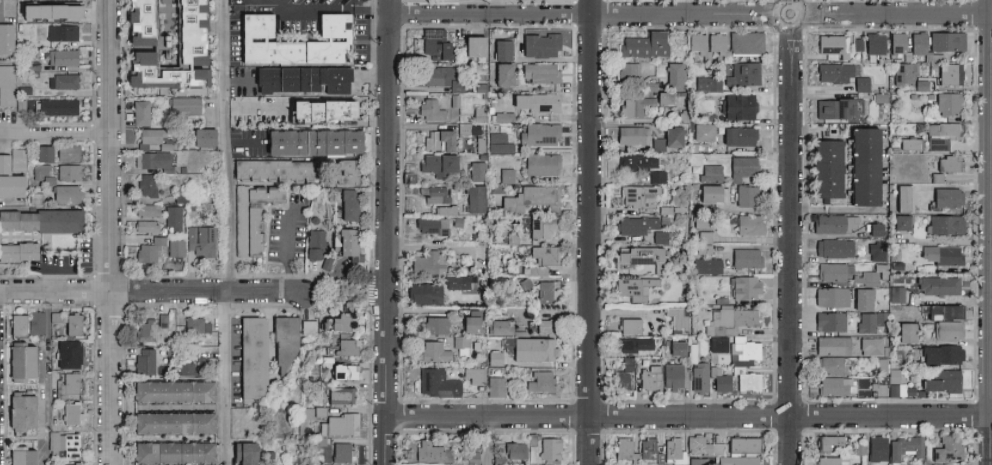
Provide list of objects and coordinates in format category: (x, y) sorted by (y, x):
road: (0, 4)
road: (319, 7)
building: (43, 13)
road: (584, 14)
road: (897, 14)
building: (135, 18)
road: (789, 26)
building: (184, 32)
building: (61, 33)
building: (4, 39)
building: (945, 40)
building: (715, 41)
building: (744, 41)
building: (896, 41)
building: (288, 42)
building: (916, 42)
building: (539, 44)
building: (643, 44)
building: (857, 44)
building: (434, 45)
building: (472, 45)
building: (697, 45)
building: (832, 46)
building: (500, 48)
building: (61, 57)
building: (30, 69)
building: (835, 71)
building: (155, 72)
building: (539, 72)
building: (627, 72)
building: (501, 73)
building: (742, 73)
building: (902, 73)
building: (949, 73)
road: (374, 75)
building: (674, 75)
building: (440, 76)
building: (300, 79)
building: (60, 82)
road: (238, 82)
building: (707, 83)
building: (860, 83)
building: (6, 84)
building: (919, 85)
building: (662, 96)
building: (879, 97)
building: (534, 101)
building: (948, 103)
building: (20, 105)
building: (183, 105)
building: (635, 105)
building: (736, 105)
building: (56, 107)
building: (836, 107)
building: (316, 108)
road: (255, 109)
building: (428, 109)
building: (139, 113)
building: (477, 113)
building: (502, 116)
building: (701, 131)
building: (538, 133)
building: (630, 134)
road: (55, 135)
building: (737, 135)
building: (942, 135)
building: (154, 137)
building: (205, 137)
building: (666, 139)
building: (310, 141)
road: (246, 143)
building: (498, 143)
building: (910, 143)
building: (18, 152)
building: (42, 152)
building: (66, 152)
building: (693, 159)
building: (156, 160)
building: (636, 162)
building: (4, 163)
building: (540, 163)
building: (949, 163)
building: (438, 164)
building: (20, 165)
building: (861, 165)
building: (740, 167)
building: (824, 167)
building: (271, 169)
building: (40, 171)
building: (67, 171)
building: (345, 171)
building: (476, 171)
building: (706, 174)
building: (506, 175)
building: (656, 176)
building: (936, 177)
building: (147, 184)
building: (10, 185)
building: (708, 192)
building: (65, 194)
building: (437, 194)
building: (180, 195)
building: (638, 195)
building: (745, 195)
building: (903, 197)
building: (946, 197)
building: (36, 198)
building: (475, 198)
building: (531, 198)
building: (346, 204)
building: (146, 209)
building: (442, 209)
building: (250, 216)
building: (172, 217)
building: (16, 219)
building: (56, 220)
building: (898, 221)
building: (834, 223)
building: (635, 224)
building: (748, 224)
building: (945, 224)
building: (145, 225)
building: (431, 225)
building: (541, 226)
building: (872, 229)
road: (111, 232)
road: (229, 232)
road: (390, 232)
road: (589, 232)
building: (659, 237)
building: (201, 240)
building: (703, 242)
building: (314, 243)
road: (790, 245)
building: (176, 247)
building: (833, 247)
building: (150, 249)
building: (17, 251)
road: (287, 251)
building: (347, 251)
building: (544, 254)
building: (940, 254)
building: (638, 257)
building: (744, 257)
building: (427, 262)
building: (705, 265)
building: (831, 271)
building: (873, 274)
building: (456, 282)
road: (334, 284)
building: (937, 285)
building: (744, 286)
building: (634, 288)
road: (161, 290)
building: (545, 291)
building: (422, 293)
building: (896, 294)
building: (830, 296)
building: (861, 298)
building: (940, 311)
building: (56, 316)
building: (161, 319)
building: (678, 319)
building: (729, 319)
building: (468, 320)
building: (829, 321)
building: (870, 321)
building: (36, 322)
building: (342, 322)
building: (16, 324)
building: (71, 324)
building: (433, 324)
building: (196, 325)
building: (545, 325)
building: (612, 326)
building: (629, 326)
building: (500, 327)
building: (145, 329)
building: (947, 329)
building: (905, 332)
building: (284, 340)
building: (717, 343)
building: (460, 344)
building: (634, 344)
building: (831, 345)
building: (346, 346)
building: (676, 347)
building: (872, 347)
building: (532, 349)
building: (432, 351)
building: (742, 351)
building: (67, 353)
building: (940, 353)
building: (251, 357)
building: (493, 358)
building: (143, 360)
road: (990, 360)
building: (18, 362)
building: (831, 365)
building: (881, 366)
building: (322, 367)
building: (186, 368)
building: (342, 371)
building: (621, 372)
building: (698, 375)
building: (893, 375)
building: (672, 376)
road: (48, 378)
building: (650, 378)
building: (718, 379)
building: (881, 380)
building: (940, 380)
building: (539, 381)
building: (746, 381)
building: (436, 382)
building: (66, 385)
building: (833, 385)
building: (493, 386)
building: (169, 390)
building: (892, 390)
building: (338, 395)
building: (18, 411)
building: (315, 411)
building: (71, 413)
road: (688, 416)
building: (169, 421)
building: (341, 424)
road: (886, 429)
road: (486, 441)
building: (830, 443)
building: (742, 444)
building: (71, 445)
building: (647, 445)
building: (703, 446)
building: (548, 448)
building: (877, 448)
building: (904, 448)
building: (947, 448)
building: (169, 451)
building: (329, 451)
building: (431, 452)
building: (510, 452)
building: (243, 453)
building: (18, 455)
building: (471, 457)
building: (735, 460)
building: (827, 460)
building: (698, 461)
building: (71, 464)
building: (436, 464)
building: (541, 464)
building: (907, 464)

